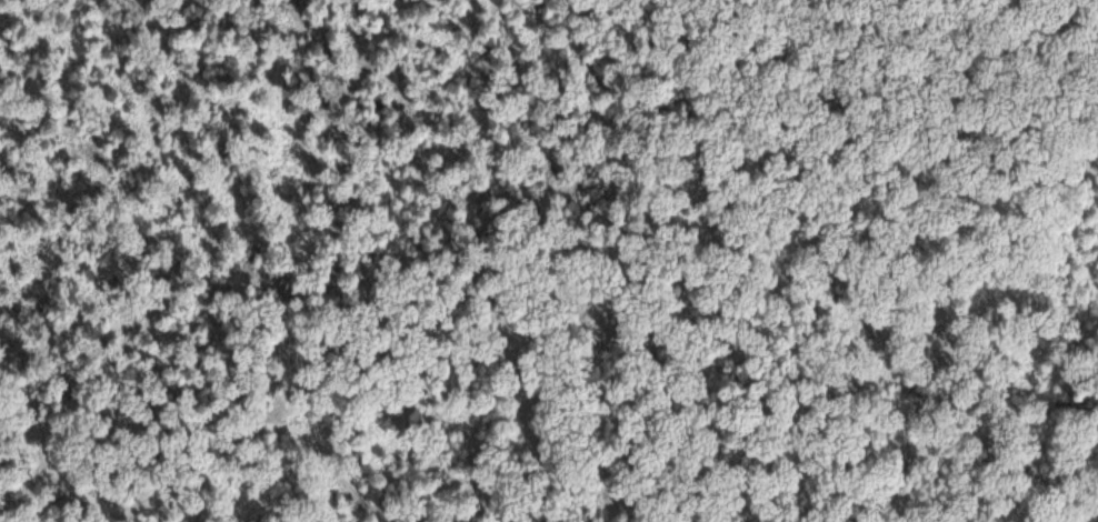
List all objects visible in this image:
road: (762, 322)
road: (182, 483)
road: (446, 505)

